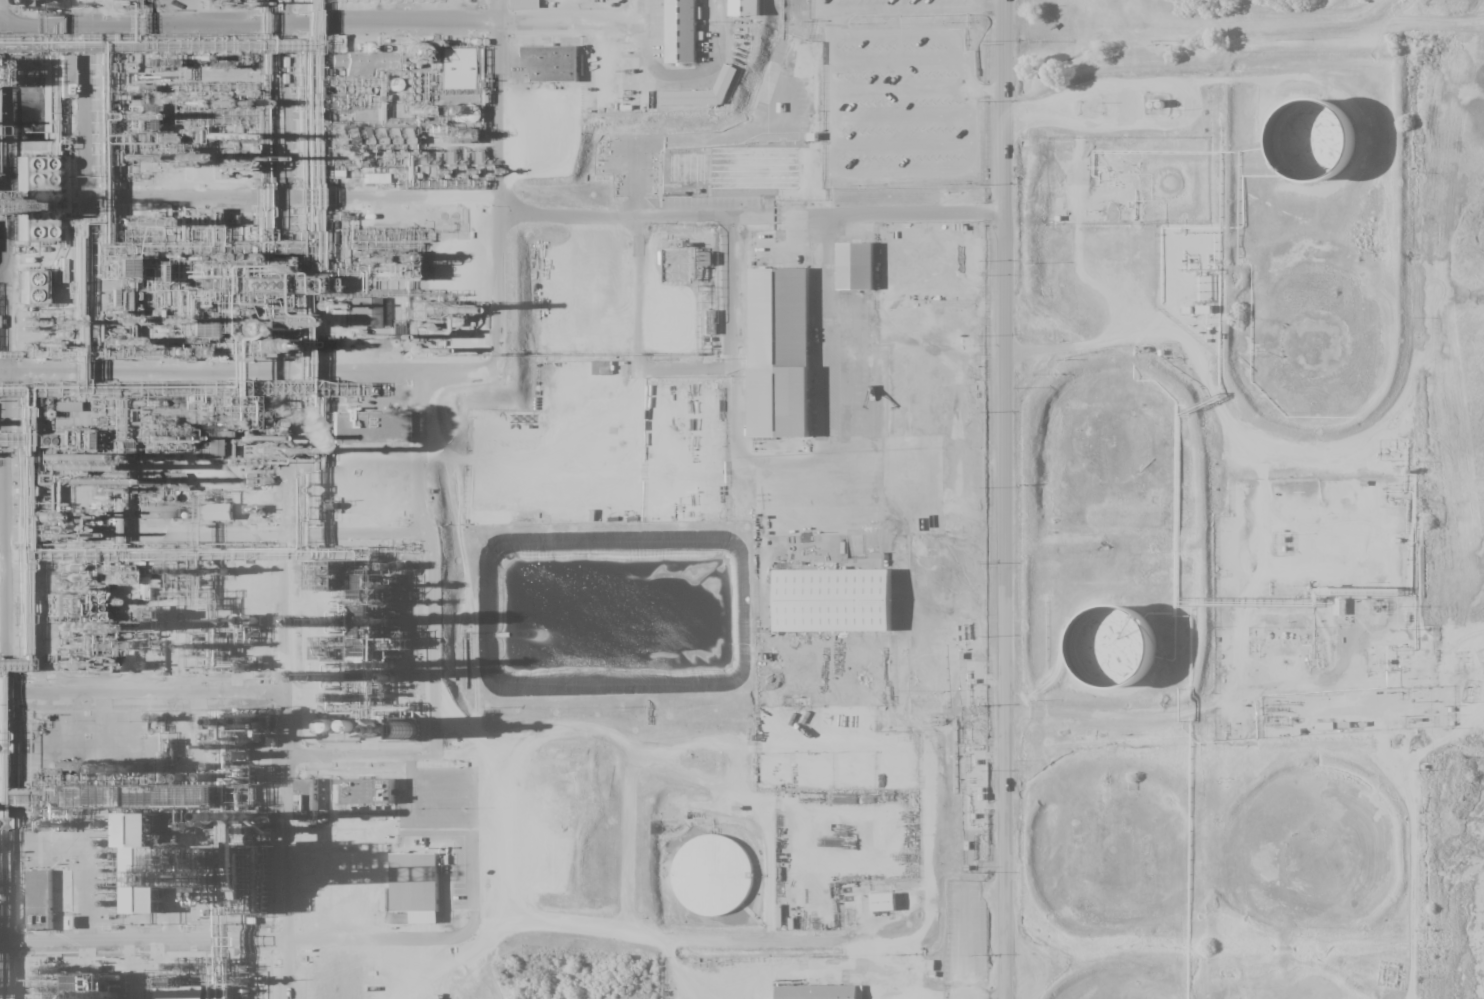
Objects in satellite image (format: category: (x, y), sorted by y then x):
building: (525, 3)
road: (817, 5)
road: (989, 6)
building: (745, 7)
road: (901, 8)
road: (831, 19)
road: (321, 25)
building: (681, 31)
road: (880, 32)
road: (894, 60)
building: (555, 67)
building: (459, 71)
road: (968, 72)
road: (901, 89)
road: (989, 91)
building: (703, 92)
building: (461, 113)
road: (902, 114)
building: (470, 120)
storage tank: (470, 120)
road: (282, 124)
road: (974, 133)
road: (902, 143)
building: (1326, 150)
storage tank: (1326, 150)
road: (859, 175)
building: (374, 178)
road: (5, 204)
building: (44, 207)
building: (863, 270)
building: (26, 287)
building: (358, 313)
road: (7, 326)
building: (788, 359)
road: (142, 373)
building: (64, 406)
building: (372, 432)
road: (418, 454)
road: (1008, 499)
building: (155, 512)
building: (220, 512)
building: (841, 603)
building: (1128, 658)
storage tank: (1128, 658)
road: (283, 686)
road: (456, 730)
road: (706, 778)
building: (369, 792)
road: (631, 837)
building: (144, 863)
building: (715, 875)
storage tank: (715, 875)
building: (423, 886)
building: (40, 899)
building: (889, 905)
building: (72, 922)
road: (703, 942)
building: (97, 986)
building: (824, 994)
building: (199, 997)

